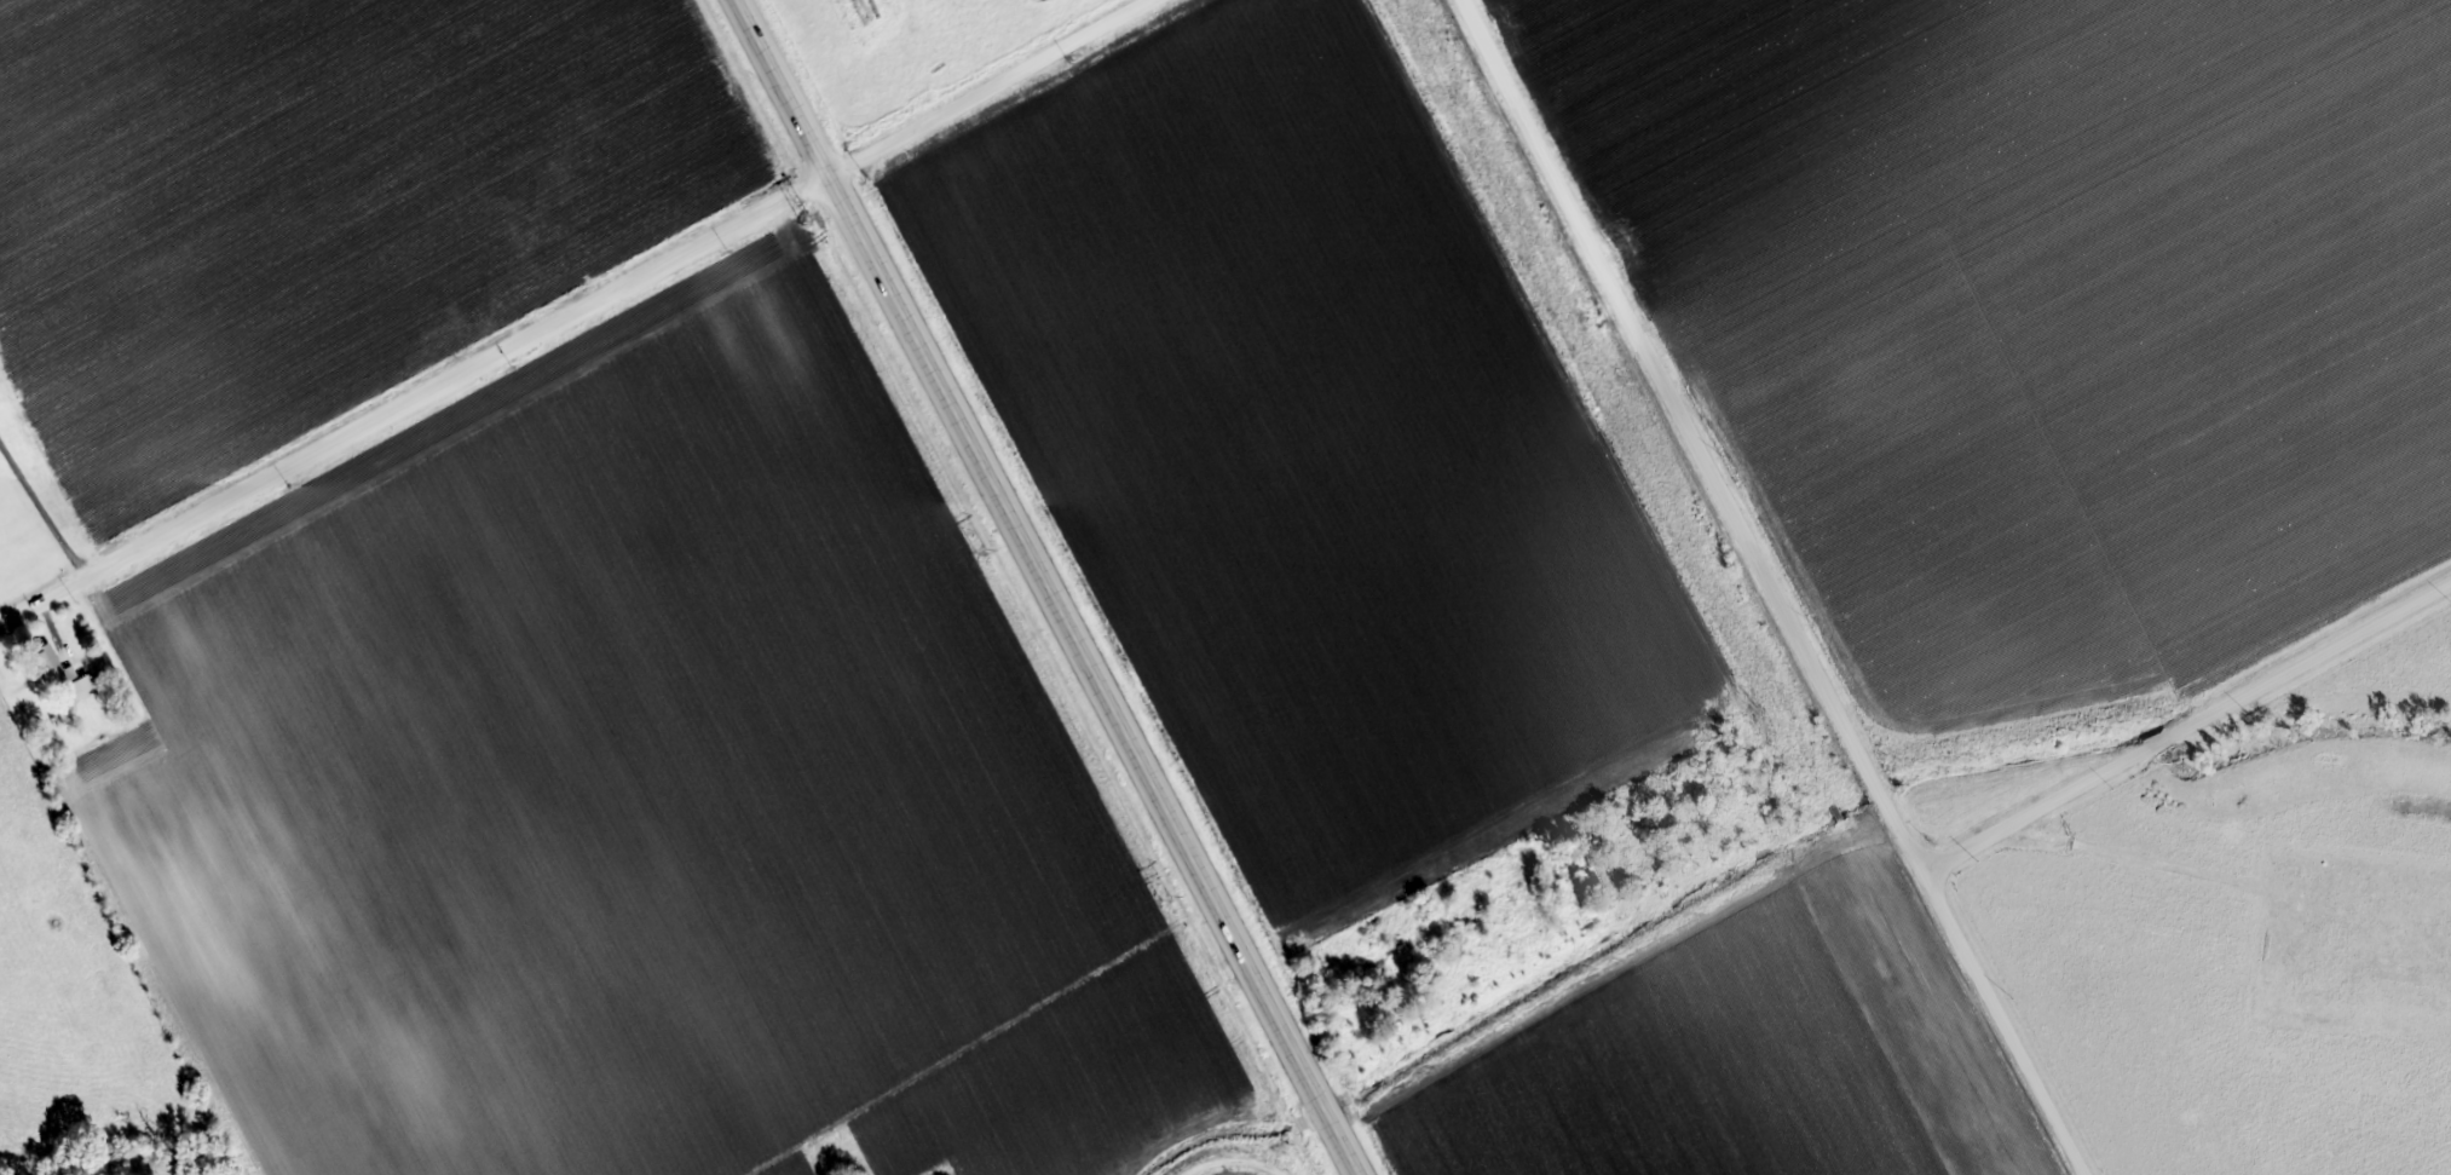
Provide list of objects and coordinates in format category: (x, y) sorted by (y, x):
power tower: (803, 220)
road: (581, 318)
road: (47, 509)
power tower: (980, 552)
road: (1039, 587)
road: (1776, 587)
railway: (1676, 588)
road: (58, 638)
building: (52, 666)
road: (2191, 733)
power tower: (1164, 900)

